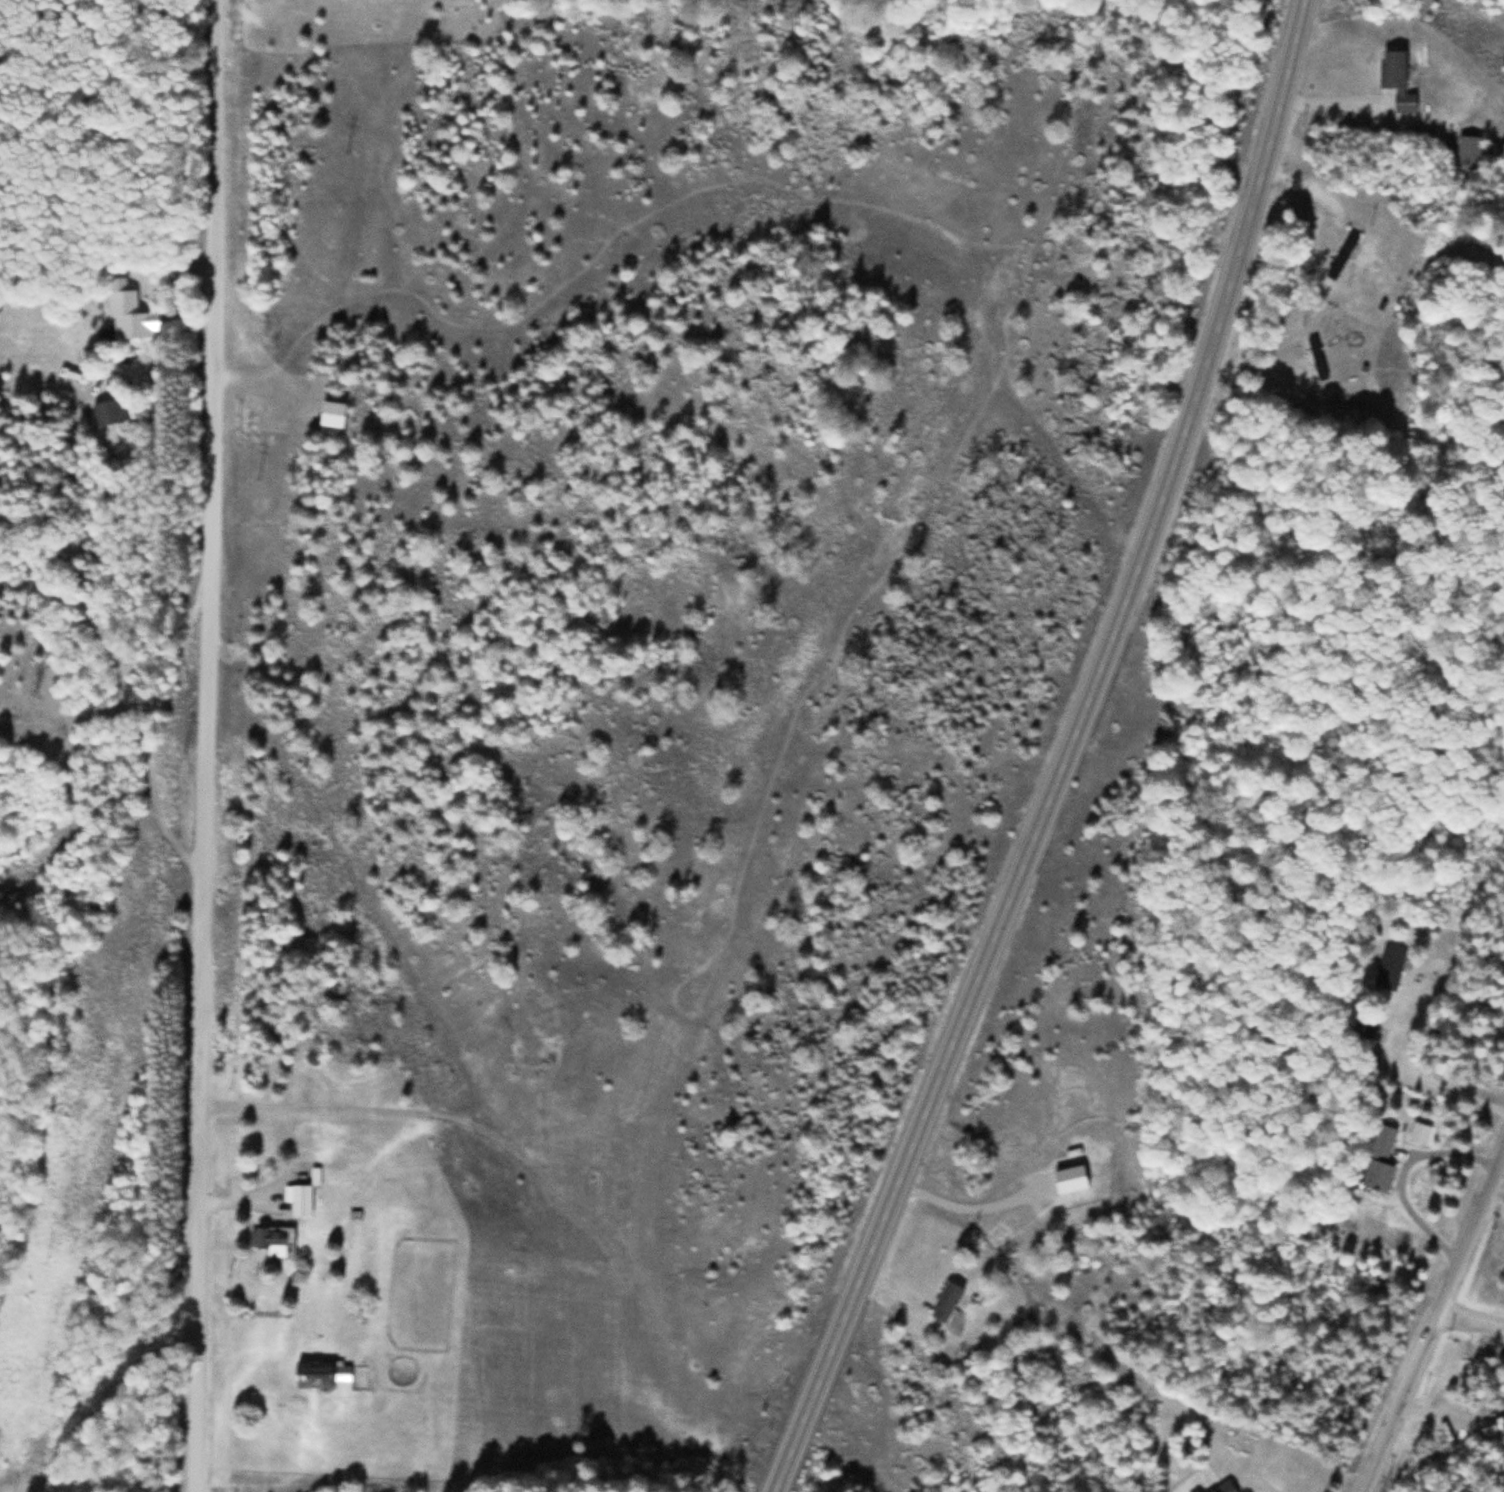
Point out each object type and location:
building: (1396, 80)
building: (1468, 151)
building: (1342, 257)
building: (121, 316)
building: (1316, 358)
building: (110, 412)
building: (332, 414)
road: (208, 746)
road: (1064, 755)
building: (1389, 968)
building: (1364, 1027)
building: (1419, 1132)
building: (1379, 1159)
building: (301, 1200)
building: (271, 1237)
building: (945, 1302)
road: (1434, 1316)
road: (1468, 1323)
building: (313, 1374)
building: (1492, 1425)
building: (1223, 1487)
building: (1197, 1491)

